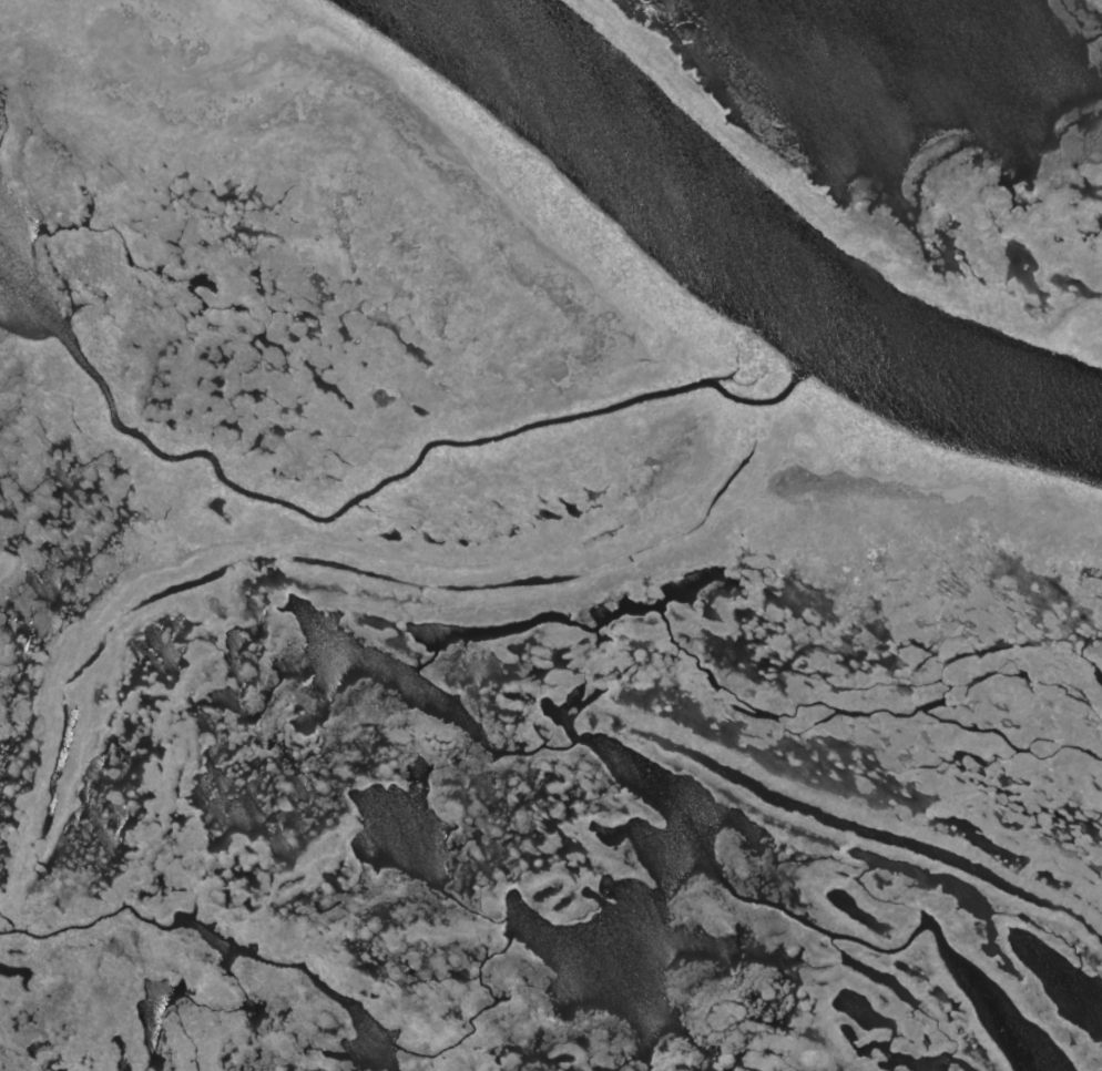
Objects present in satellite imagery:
river: (752, 245)

